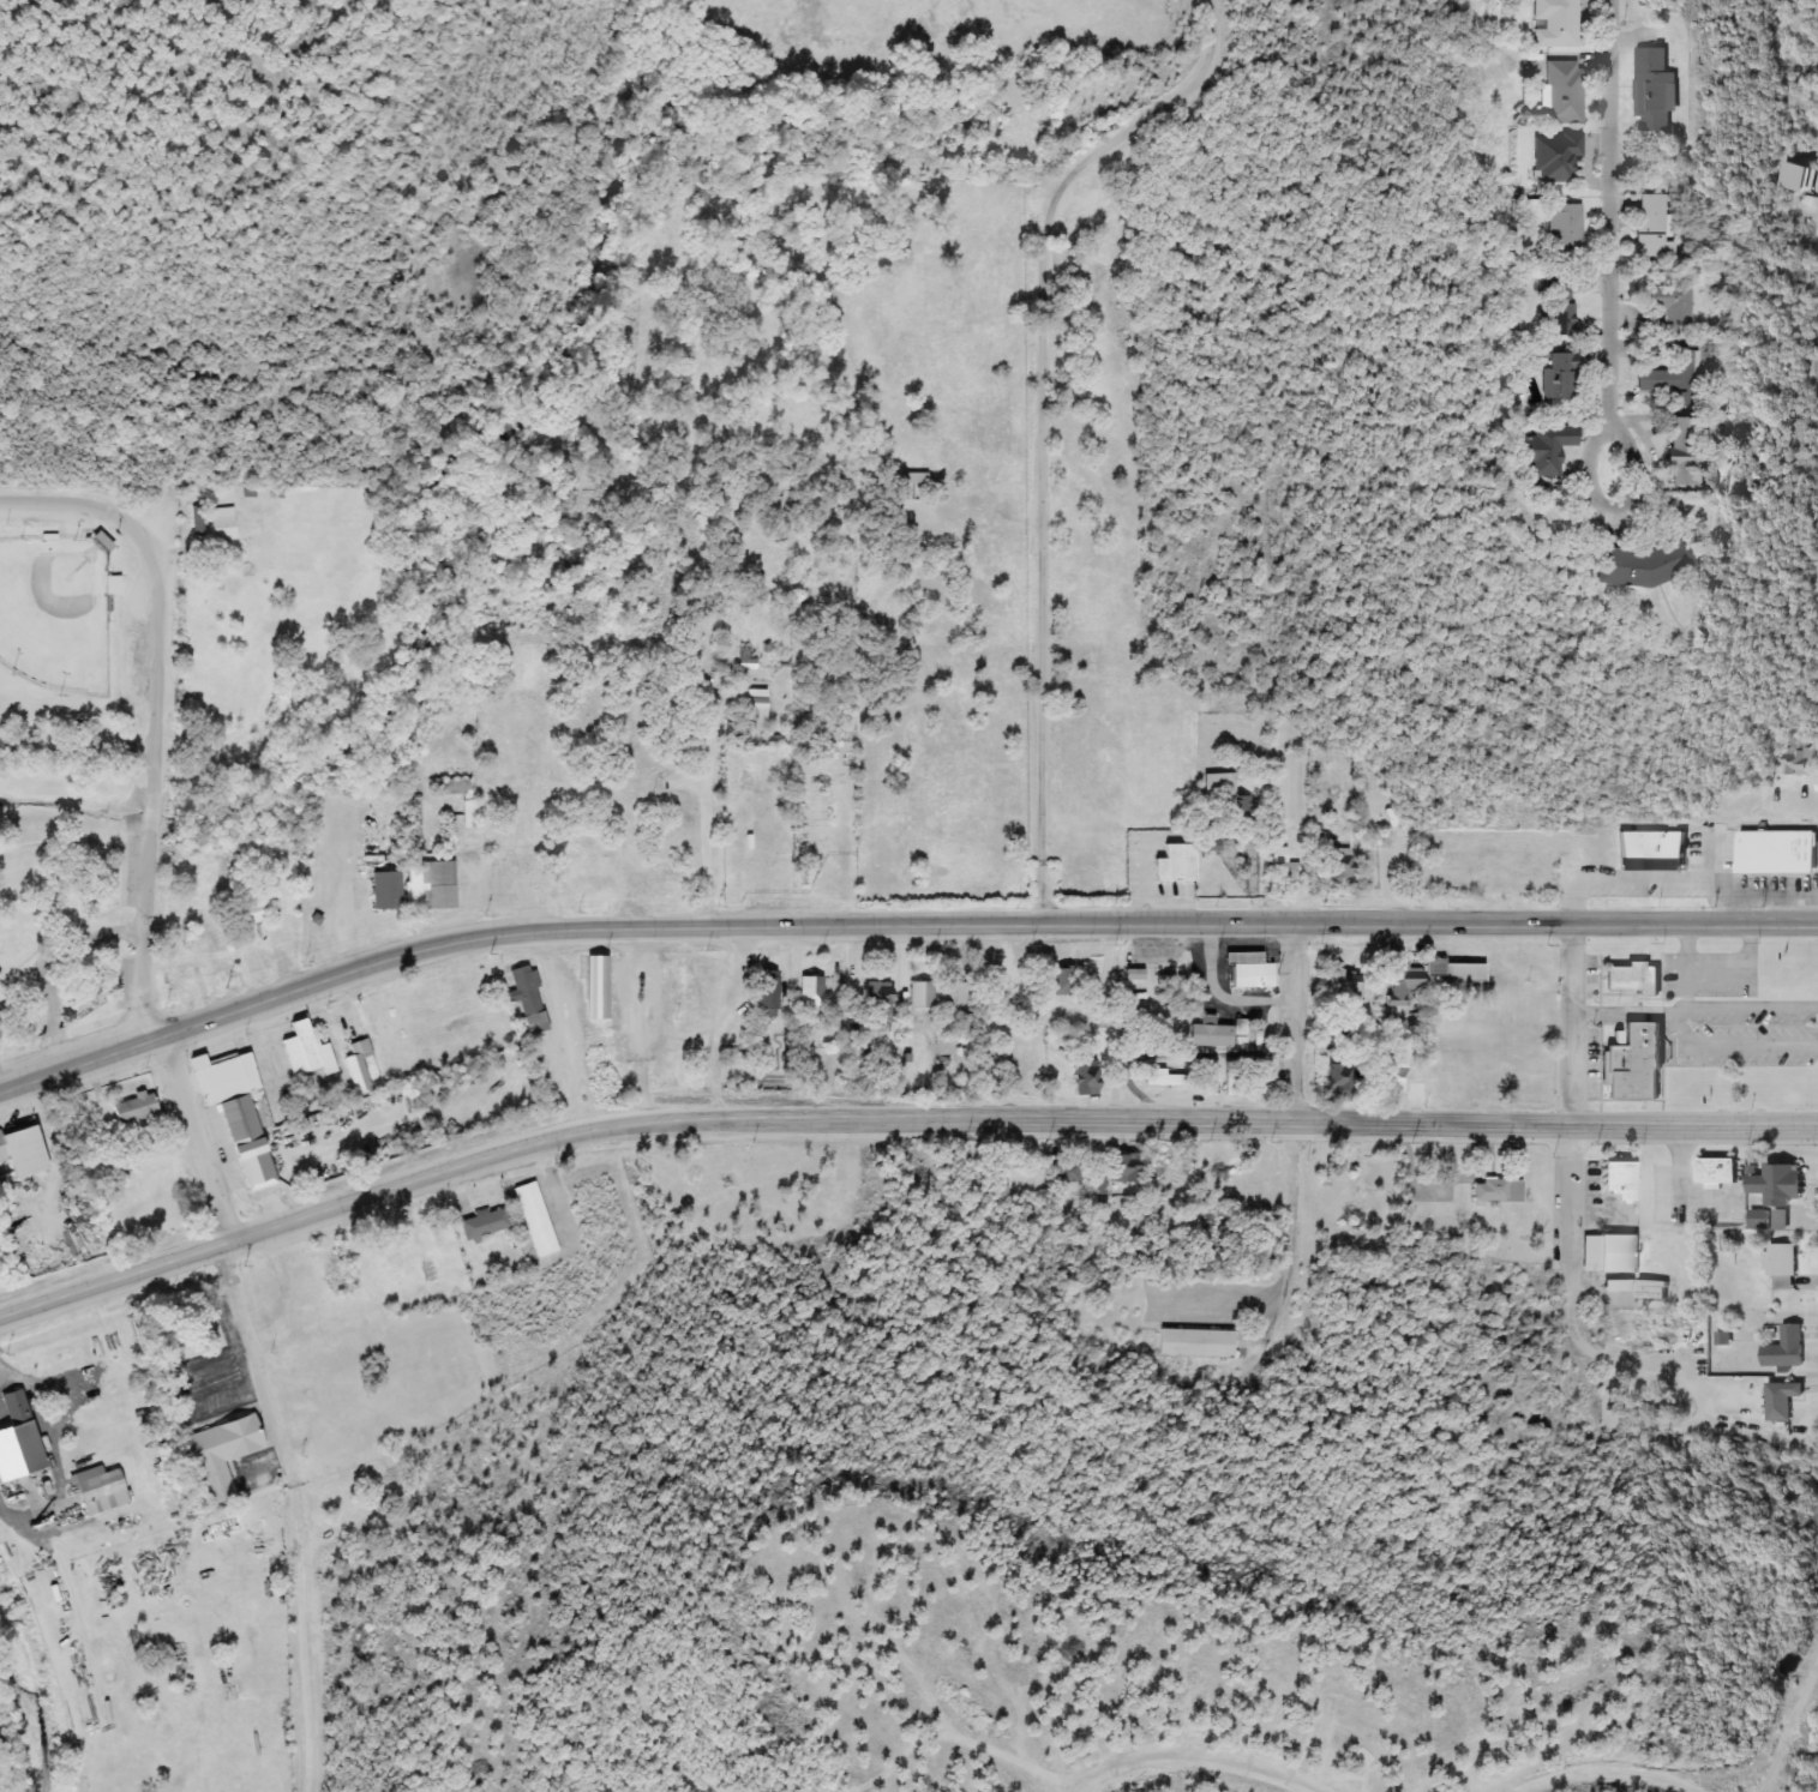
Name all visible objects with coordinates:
building: (1555, 24)
building: (1660, 89)
building: (1562, 92)
building: (1555, 157)
building: (1656, 229)
building: (1565, 231)
road: (1614, 235)
building: (1564, 307)
building: (1668, 307)
building: (1564, 377)
building: (1672, 380)
road: (1040, 417)
building: (1550, 449)
building: (1690, 453)
building: (914, 479)
road: (102, 511)
building: (223, 525)
building: (103, 542)
building: (1651, 566)
building: (113, 585)
park: (55, 614)
building: (754, 708)
road: (77, 744)
building: (1798, 762)
park: (62, 782)
building: (1229, 799)
building: (414, 810)
building: (470, 813)
road: (151, 814)
road: (709, 822)
building: (1655, 853)
building: (1780, 853)
building: (1177, 864)
building: (1338, 864)
building: (1283, 866)
building: (431, 885)
building: (386, 891)
road: (352, 900)
building: (253, 912)
road: (895, 919)
building: (217, 961)
building: (253, 962)
road: (1716, 969)
building: (1250, 970)
building: (1457, 978)
building: (1636, 980)
building: (1058, 981)
building: (1345, 981)
building: (1403, 982)
building: (598, 987)
road: (1687, 988)
building: (811, 990)
building: (526, 991)
building: (769, 993)
building: (920, 999)
building: (953, 1000)
building: (878, 1005)
road: (1752, 1006)
road: (1630, 1012)
building: (1259, 1035)
building: (1214, 1036)
road: (1734, 1045)
building: (306, 1052)
building: (1637, 1063)
building: (359, 1065)
building: (1394, 1074)
building: (1087, 1078)
building: (1230, 1078)
building: (1166, 1080)
building: (1340, 1080)
road: (1570, 1088)
building: (136, 1108)
building: (238, 1112)
road: (893, 1114)
road: (1298, 1129)
building: (19, 1144)
building: (1127, 1168)
building: (1064, 1171)
building: (1721, 1171)
building: (1622, 1177)
building: (1782, 1184)
building: (1496, 1191)
building: (1760, 1217)
building: (535, 1220)
building: (485, 1223)
building: (1610, 1253)
building: (1781, 1259)
building: (330, 1264)
road: (235, 1267)
building: (1619, 1286)
building: (1196, 1343)
building: (1787, 1348)
building: (1782, 1400)
building: (19, 1441)
building: (223, 1454)
building: (100, 1490)
road: (14, 1516)

